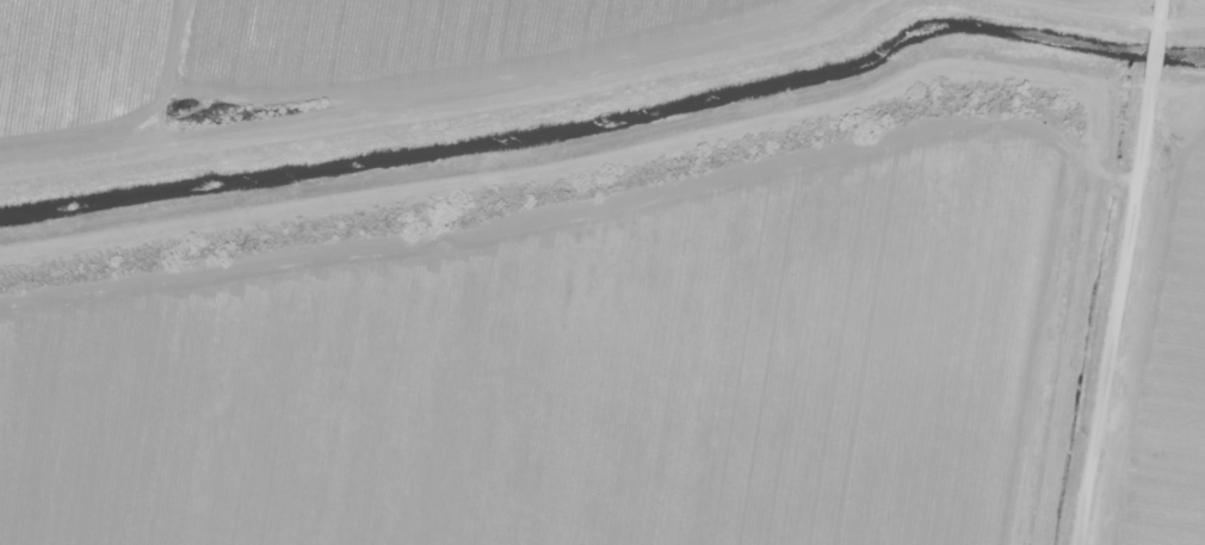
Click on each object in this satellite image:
road: (1143, 272)

